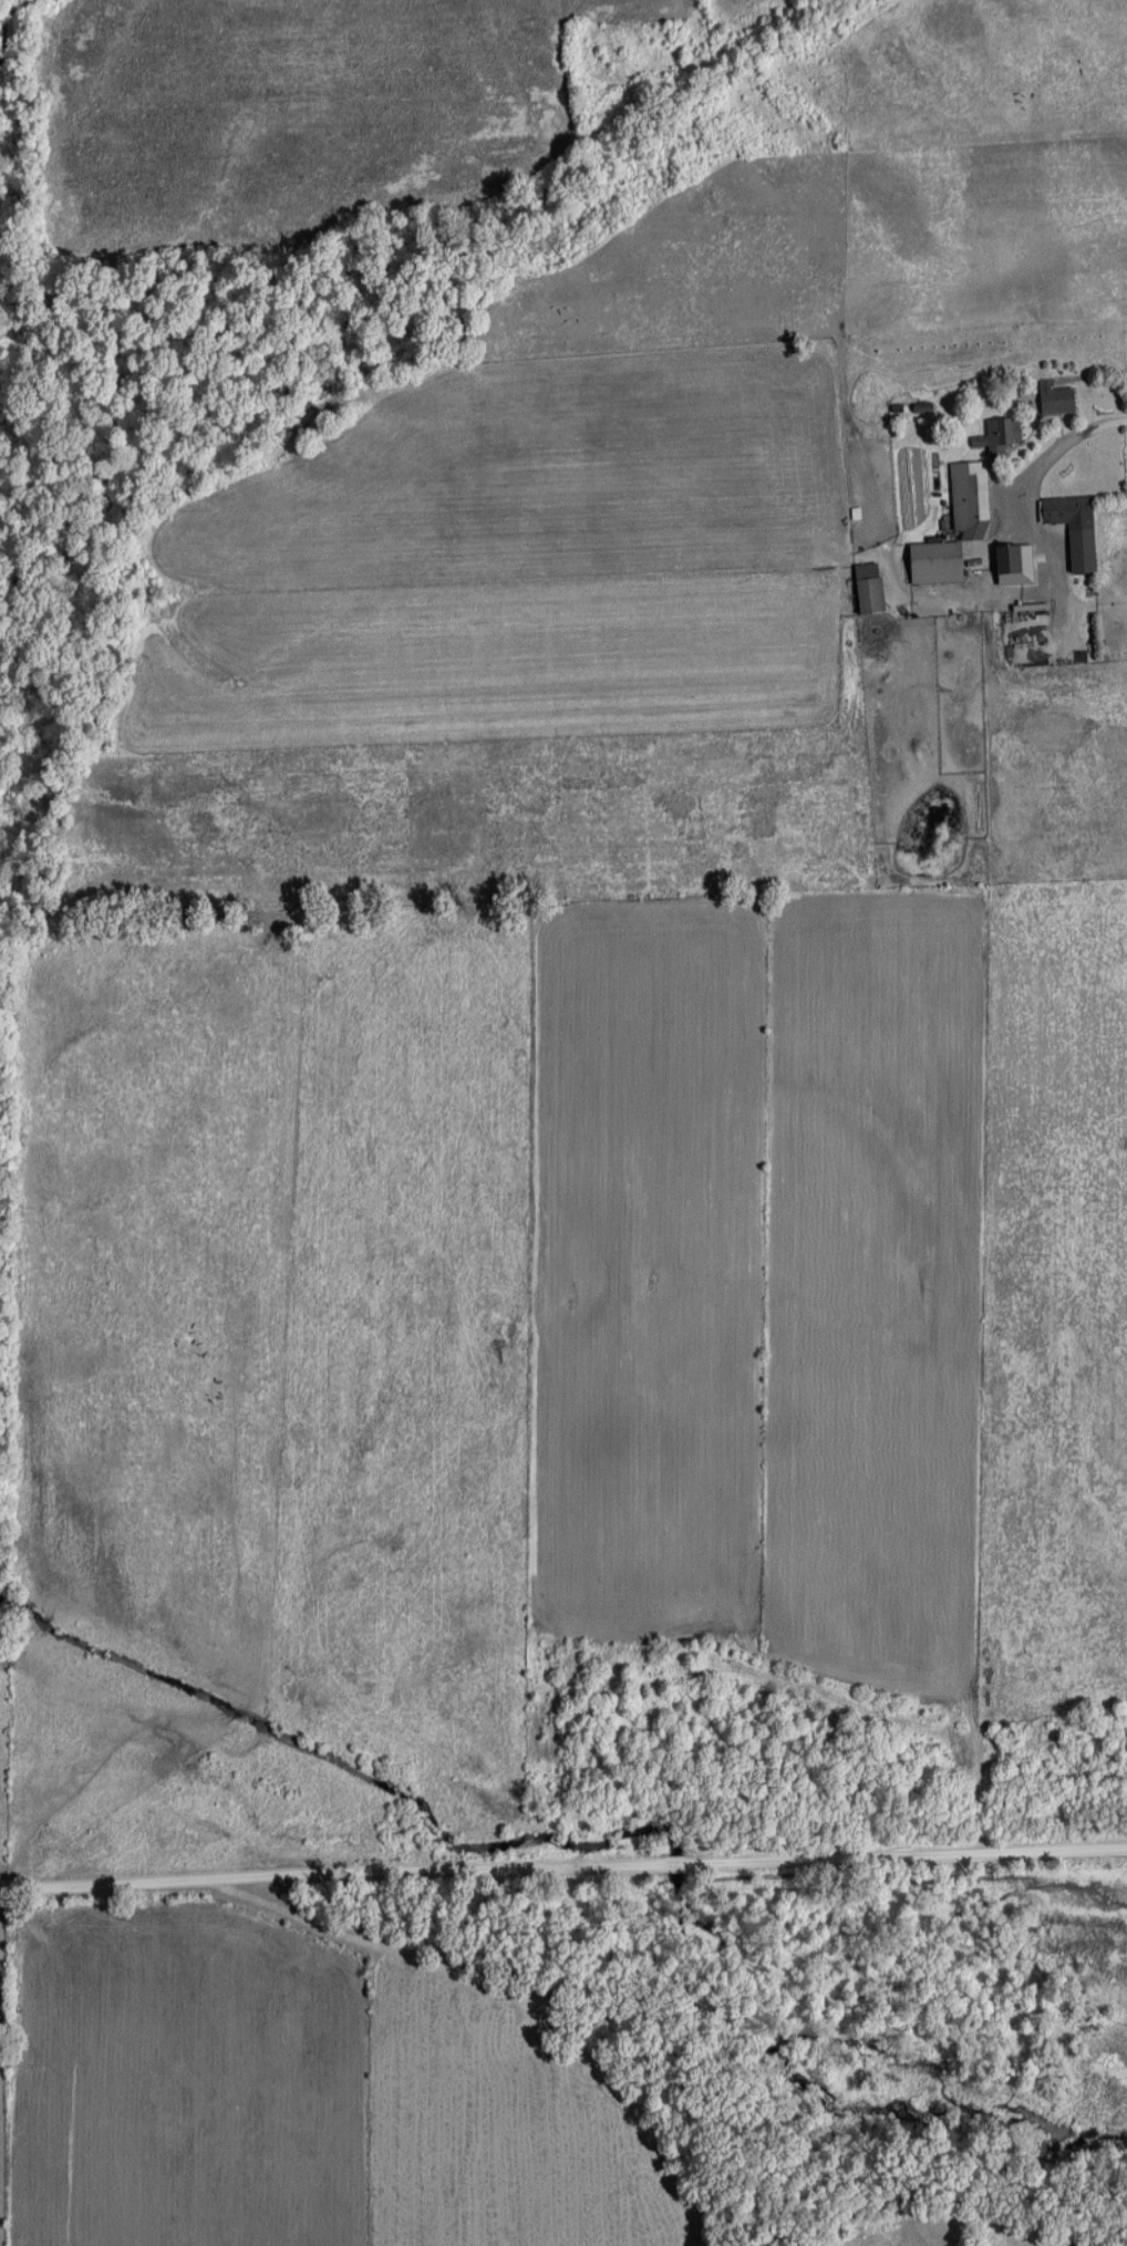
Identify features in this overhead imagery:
building: (1052, 397)
building: (995, 435)
road: (1037, 469)
building: (966, 505)
building: (1072, 527)
building: (1003, 558)
building: (931, 562)
building: (865, 588)
road: (563, 1881)

